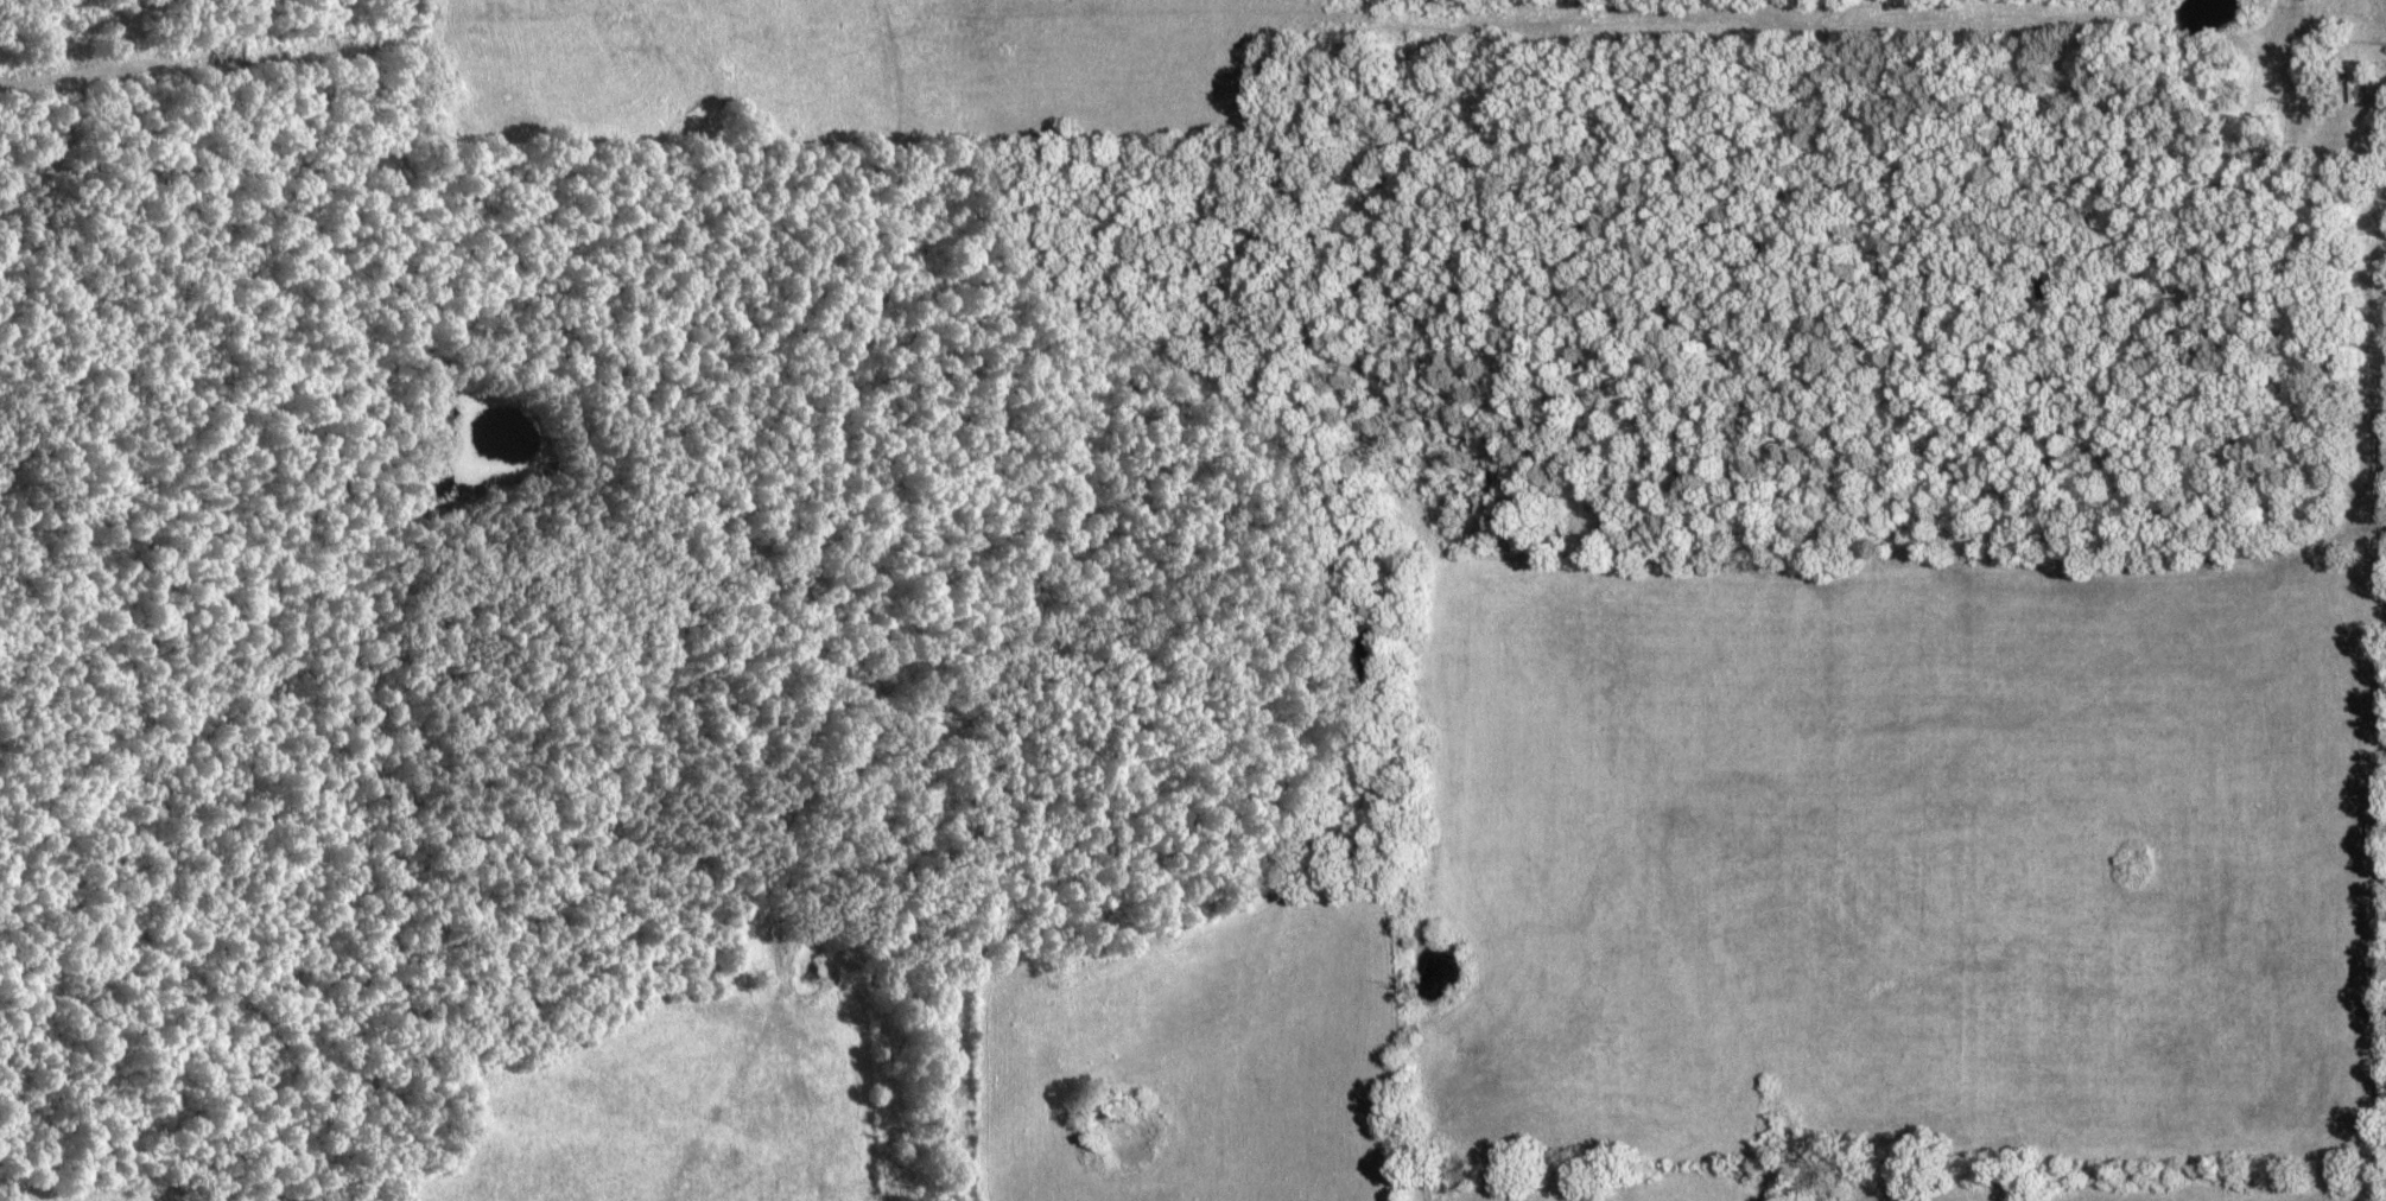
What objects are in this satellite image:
building: (2361, 95)
road: (2384, 1143)

